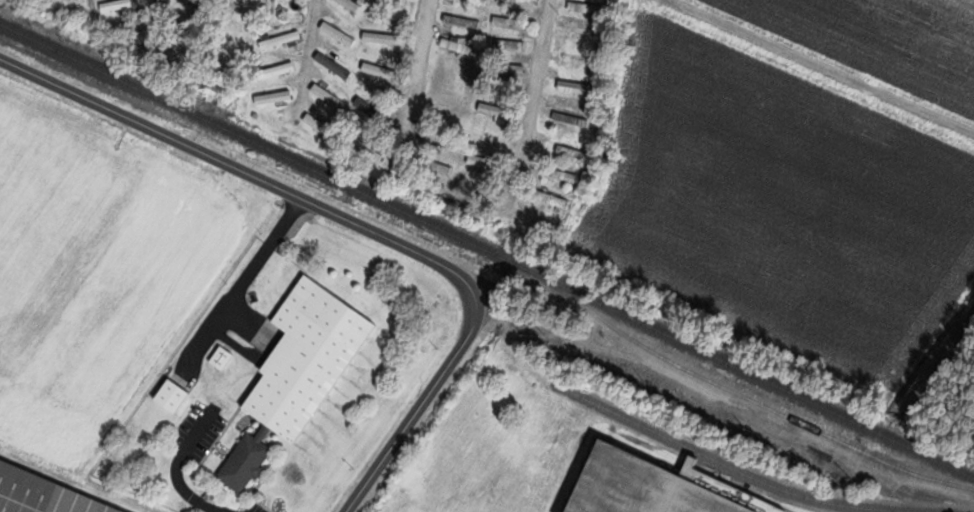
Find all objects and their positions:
building: (188, 0)
building: (470, 0)
building: (521, 0)
building: (352, 3)
building: (122, 4)
building: (339, 33)
building: (383, 37)
building: (586, 38)
building: (282, 39)
building: (515, 43)
building: (457, 44)
road: (311, 51)
building: (336, 65)
building: (377, 66)
road: (422, 69)
building: (279, 70)
road: (540, 84)
building: (578, 87)
building: (328, 94)
building: (276, 97)
building: (375, 111)
building: (500, 112)
building: (319, 123)
building: (491, 135)
building: (438, 138)
building: (368, 149)
building: (574, 153)
building: (486, 162)
road: (231, 163)
building: (565, 175)
building: (554, 199)
railway: (486, 249)
road: (250, 275)
building: (300, 373)
railway: (737, 391)
road: (436, 395)
building: (174, 396)
railway: (737, 467)
road: (179, 469)
building: (660, 487)
building: (44, 495)

